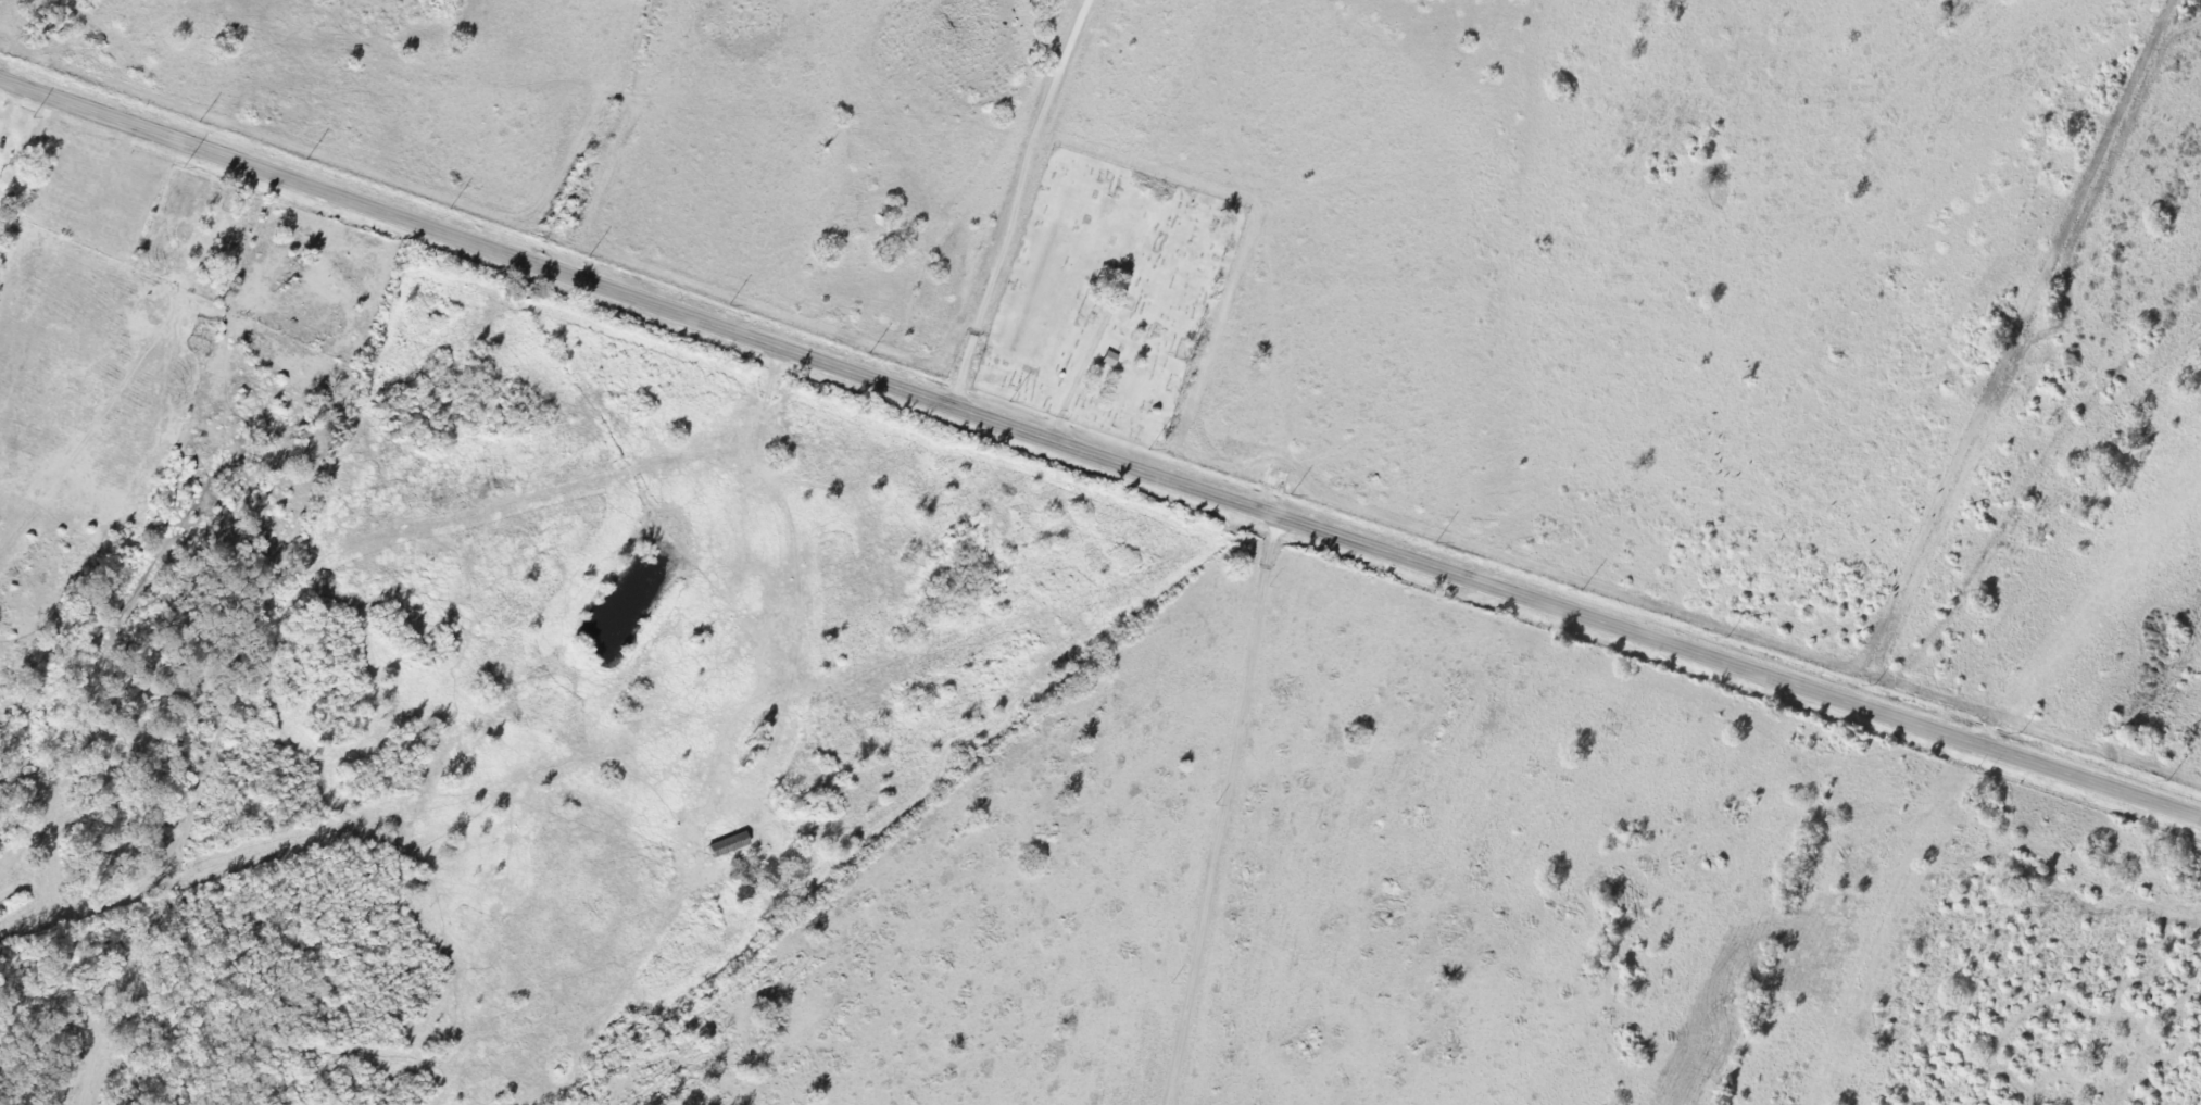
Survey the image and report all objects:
road: (47, 106)
road: (8, 115)
road: (125, 141)
road: (1011, 200)
park: (1106, 297)
building: (1108, 360)
road: (1057, 422)
road: (1222, 437)
road: (1097, 455)
road: (1232, 812)
road: (788, 815)
building: (727, 844)

